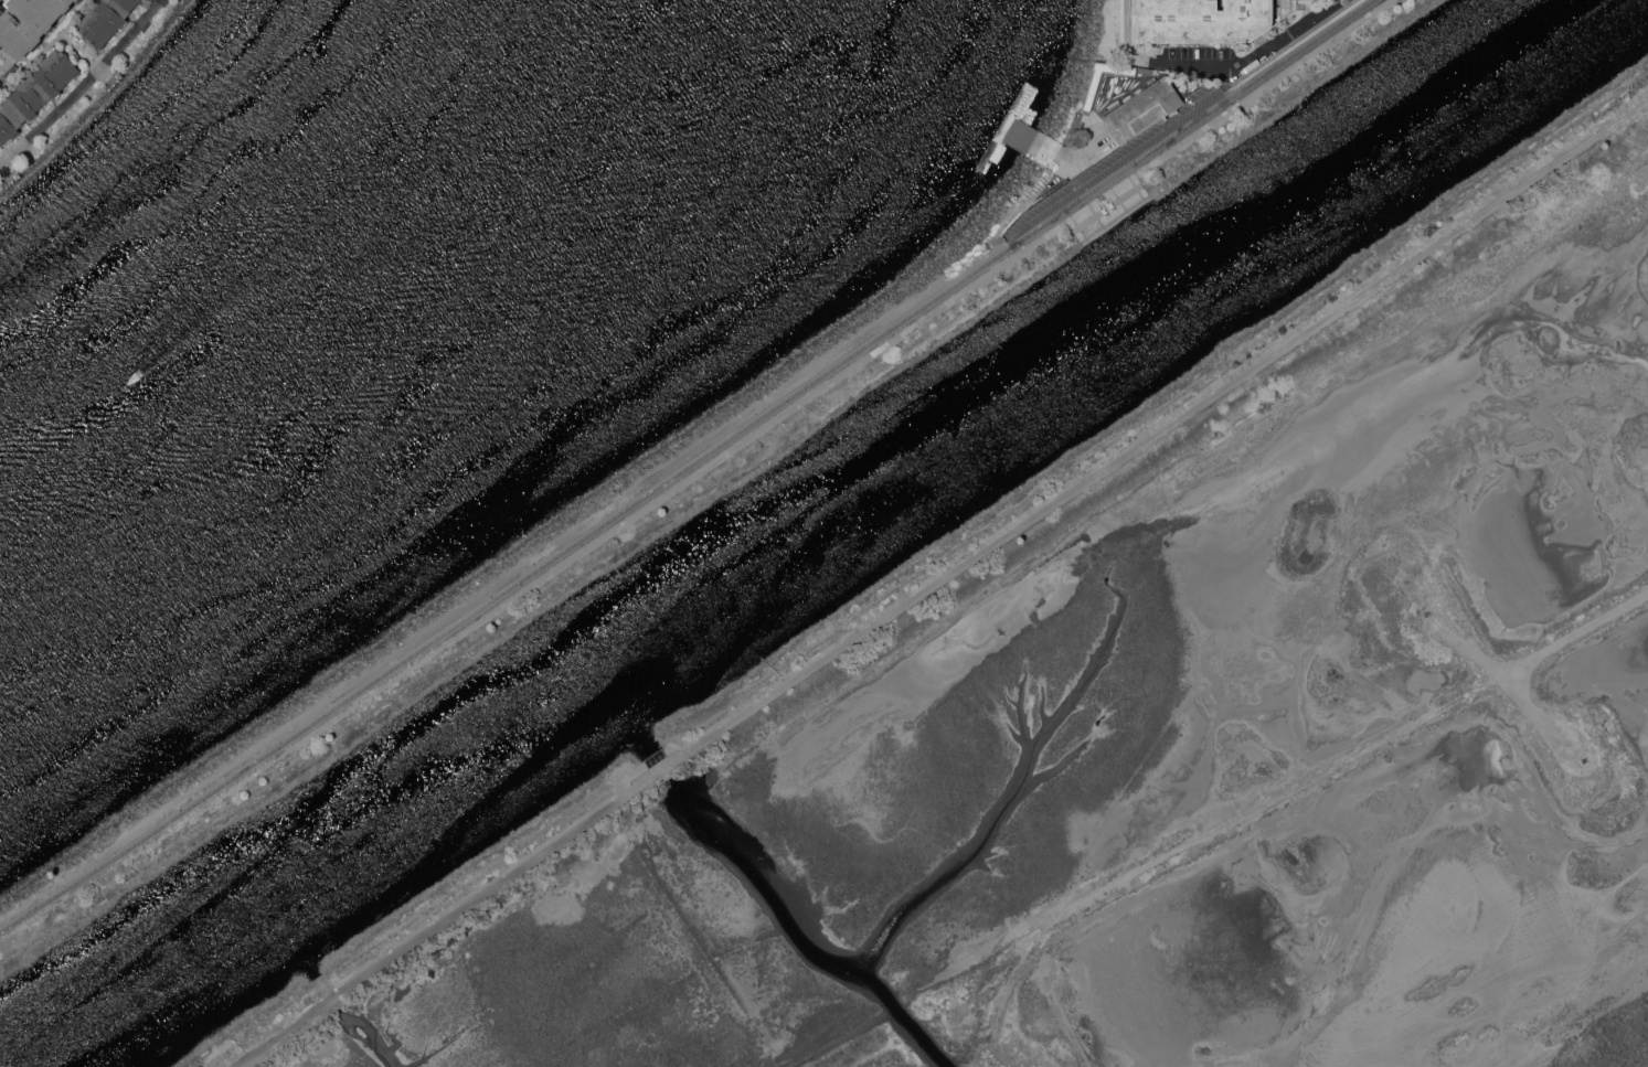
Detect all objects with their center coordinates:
building: (76, 0)
building: (105, 20)
building: (1200, 20)
building: (28, 22)
road: (1128, 34)
road: (1298, 49)
parking lot: (1197, 55)
road: (1246, 60)
building: (1146, 70)
road: (1225, 78)
road: (85, 87)
building: (1089, 90)
building: (34, 92)
building: (1142, 109)
pier: (1009, 119)
road: (1128, 153)
parking lot: (1115, 157)
road: (1118, 170)
road: (1038, 175)
road: (1003, 223)
road: (1165, 425)
road: (504, 586)
road: (1569, 637)
road: (1501, 666)
road: (1525, 675)
road: (1509, 686)
road: (660, 772)
road: (1272, 798)
road: (433, 928)
road: (1019, 970)

